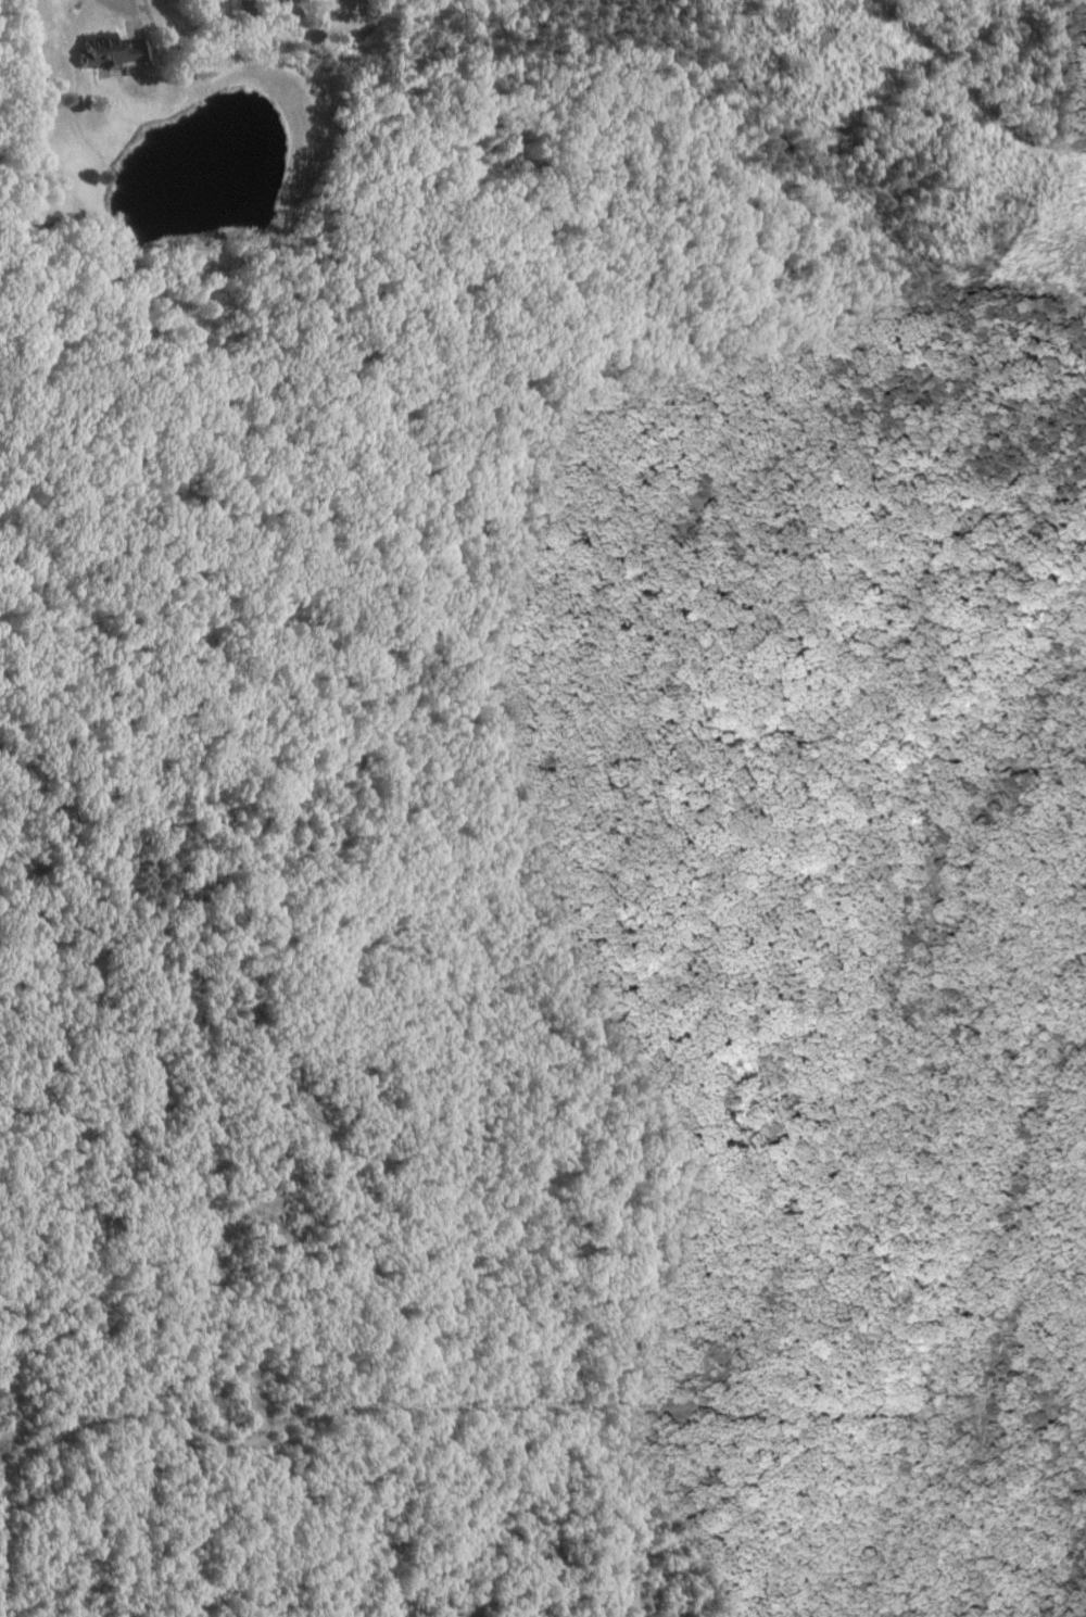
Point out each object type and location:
building: (108, 52)

